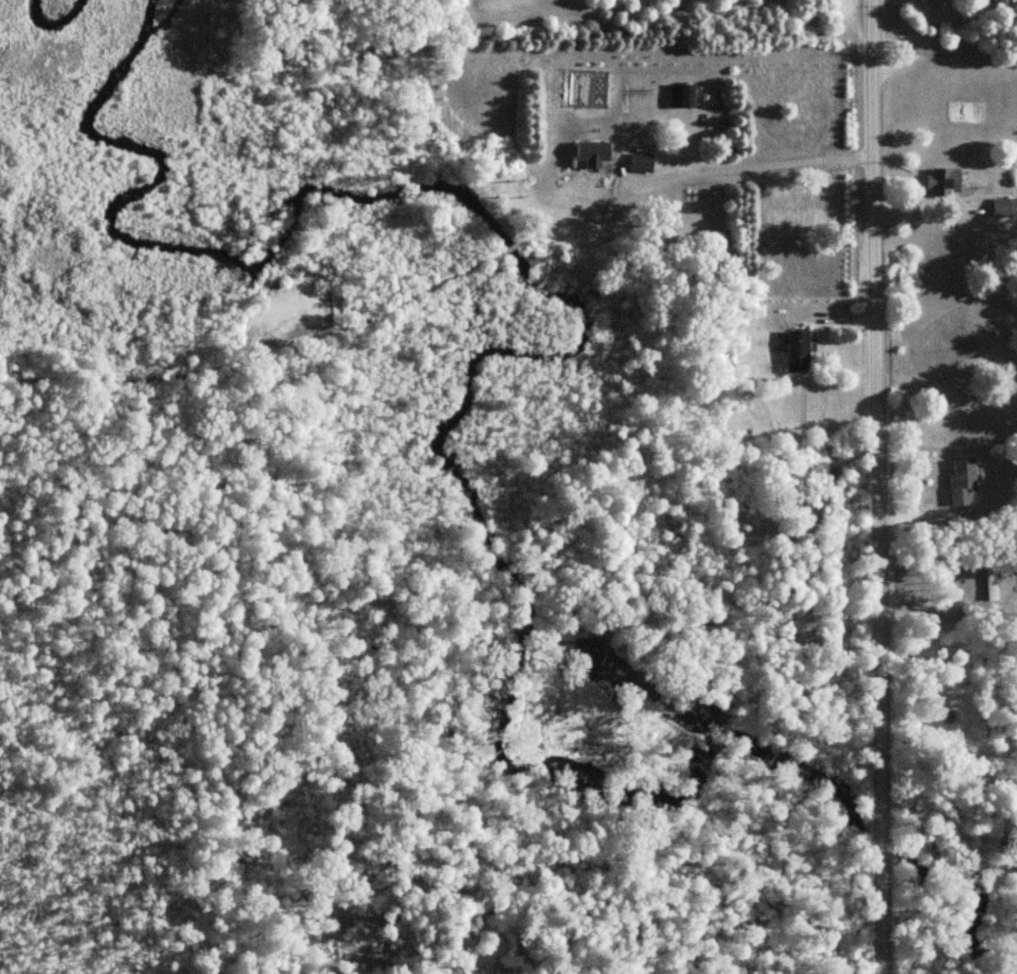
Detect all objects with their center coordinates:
road: (943, 61)
building: (680, 96)
building: (591, 153)
building: (639, 163)
road: (769, 167)
building: (942, 183)
road: (928, 204)
building: (1004, 208)
building: (797, 352)
building: (961, 481)
road: (877, 486)
building: (990, 581)

